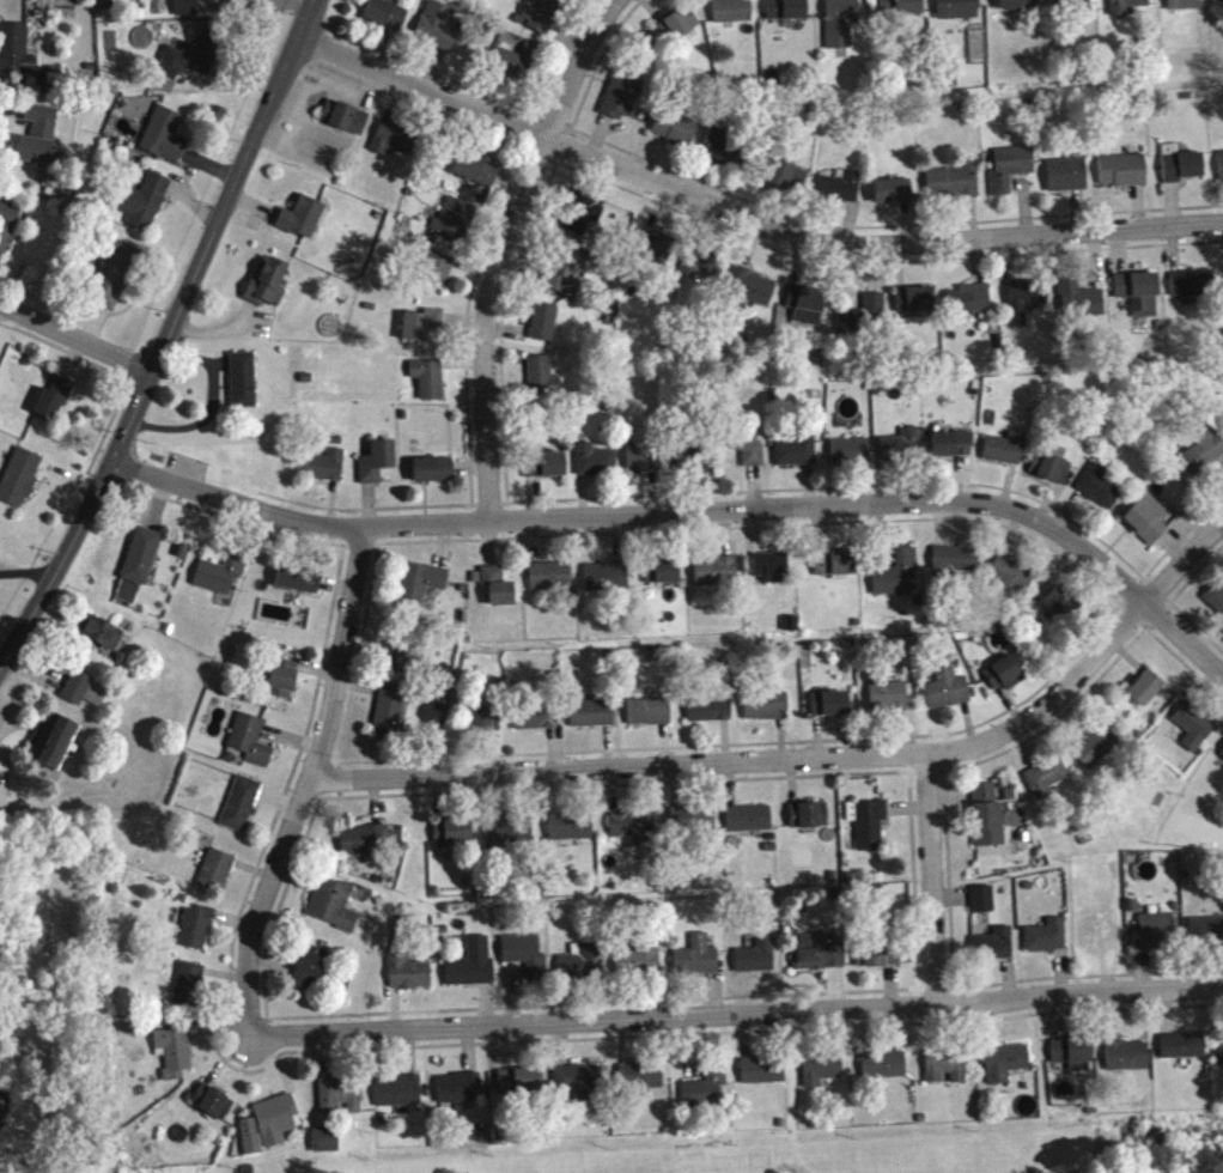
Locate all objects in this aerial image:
building: (238, 2)
building: (1221, 4)
building: (1070, 7)
building: (1184, 7)
building: (1020, 8)
building: (1127, 10)
building: (185, 11)
building: (900, 11)
building: (957, 12)
building: (786, 14)
building: (732, 17)
building: (542, 18)
building: (385, 20)
building: (841, 26)
building: (679, 31)
building: (438, 32)
building: (16, 55)
building: (191, 62)
building: (512, 71)
building: (621, 103)
building: (346, 124)
building: (676, 134)
building: (38, 142)
building: (165, 142)
building: (395, 146)
building: (728, 156)
building: (1180, 171)
building: (1221, 171)
building: (1010, 175)
building: (476, 177)
building: (1122, 177)
building: (786, 182)
building: (1067, 182)
building: (953, 189)
building: (841, 194)
building: (893, 197)
building: (146, 208)
road: (746, 213)
building: (585, 221)
building: (303, 224)
building: (455, 227)
building: (8, 230)
road: (503, 253)
building: (656, 253)
building: (700, 272)
building: (438, 278)
building: (567, 279)
building: (114, 281)
building: (268, 288)
building: (1192, 292)
building: (753, 293)
building: (1138, 299)
building: (914, 306)
building: (969, 306)
building: (1024, 306)
building: (1084, 308)
building: (803, 312)
building: (864, 321)
building: (543, 328)
building: (422, 332)
road: (166, 338)
road: (75, 340)
building: (543, 383)
building: (428, 385)
building: (243, 387)
building: (54, 406)
building: (951, 451)
building: (750, 455)
building: (1005, 455)
building: (797, 457)
building: (850, 457)
building: (1203, 458)
traffic signals: (112, 461)
building: (643, 464)
building: (596, 467)
building: (377, 468)
building: (546, 472)
building: (324, 473)
building: (1051, 474)
building: (433, 476)
building: (20, 485)
building: (1100, 493)
road: (690, 516)
building: (1148, 525)
building: (142, 563)
building: (955, 566)
building: (835, 570)
building: (772, 575)
building: (662, 578)
building: (716, 578)
building: (221, 579)
building: (896, 579)
road: (25, 581)
building: (1012, 582)
building: (550, 583)
building: (608, 583)
building: (299, 585)
building: (420, 591)
building: (498, 592)
building: (1216, 604)
building: (1061, 607)
building: (791, 631)
building: (103, 640)
building: (400, 661)
building: (1004, 680)
building: (282, 686)
building: (1145, 694)
building: (947, 697)
building: (85, 698)
building: (888, 704)
building: (830, 711)
building: (766, 713)
building: (710, 716)
building: (389, 718)
building: (649, 718)
building: (592, 721)
building: (536, 724)
building: (483, 728)
building: (1194, 733)
building: (251, 747)
building: (53, 748)
building: (1096, 753)
road: (810, 758)
building: (1222, 762)
building: (1046, 785)
road: (309, 786)
building: (984, 800)
building: (242, 810)
building: (809, 822)
building: (693, 825)
building: (749, 826)
building: (988, 831)
building: (870, 832)
building: (632, 834)
building: (568, 837)
building: (452, 839)
building: (510, 839)
building: (363, 846)
building: (218, 877)
road: (932, 880)
building: (982, 906)
building: (334, 912)
building: (196, 935)
building: (1206, 937)
building: (1155, 938)
building: (1047, 943)
building: (993, 952)
building: (821, 958)
building: (525, 961)
building: (877, 961)
building: (757, 964)
building: (640, 965)
building: (696, 965)
building: (473, 971)
building: (580, 971)
building: (310, 974)
building: (409, 980)
building: (189, 990)
road: (738, 1015)
building: (1182, 1052)
building: (174, 1059)
building: (1221, 1059)
building: (1073, 1060)
building: (1127, 1063)
building: (1005, 1069)
building: (884, 1072)
building: (945, 1074)
building: (821, 1077)
building: (763, 1078)
building: (640, 1082)
building: (701, 1083)
building: (521, 1088)
building: (579, 1089)
building: (458, 1095)
building: (398, 1098)
building: (342, 1102)
building: (213, 1110)
building: (278, 1126)
building: (251, 1143)
building: (327, 1147)
park: (859, 1155)

